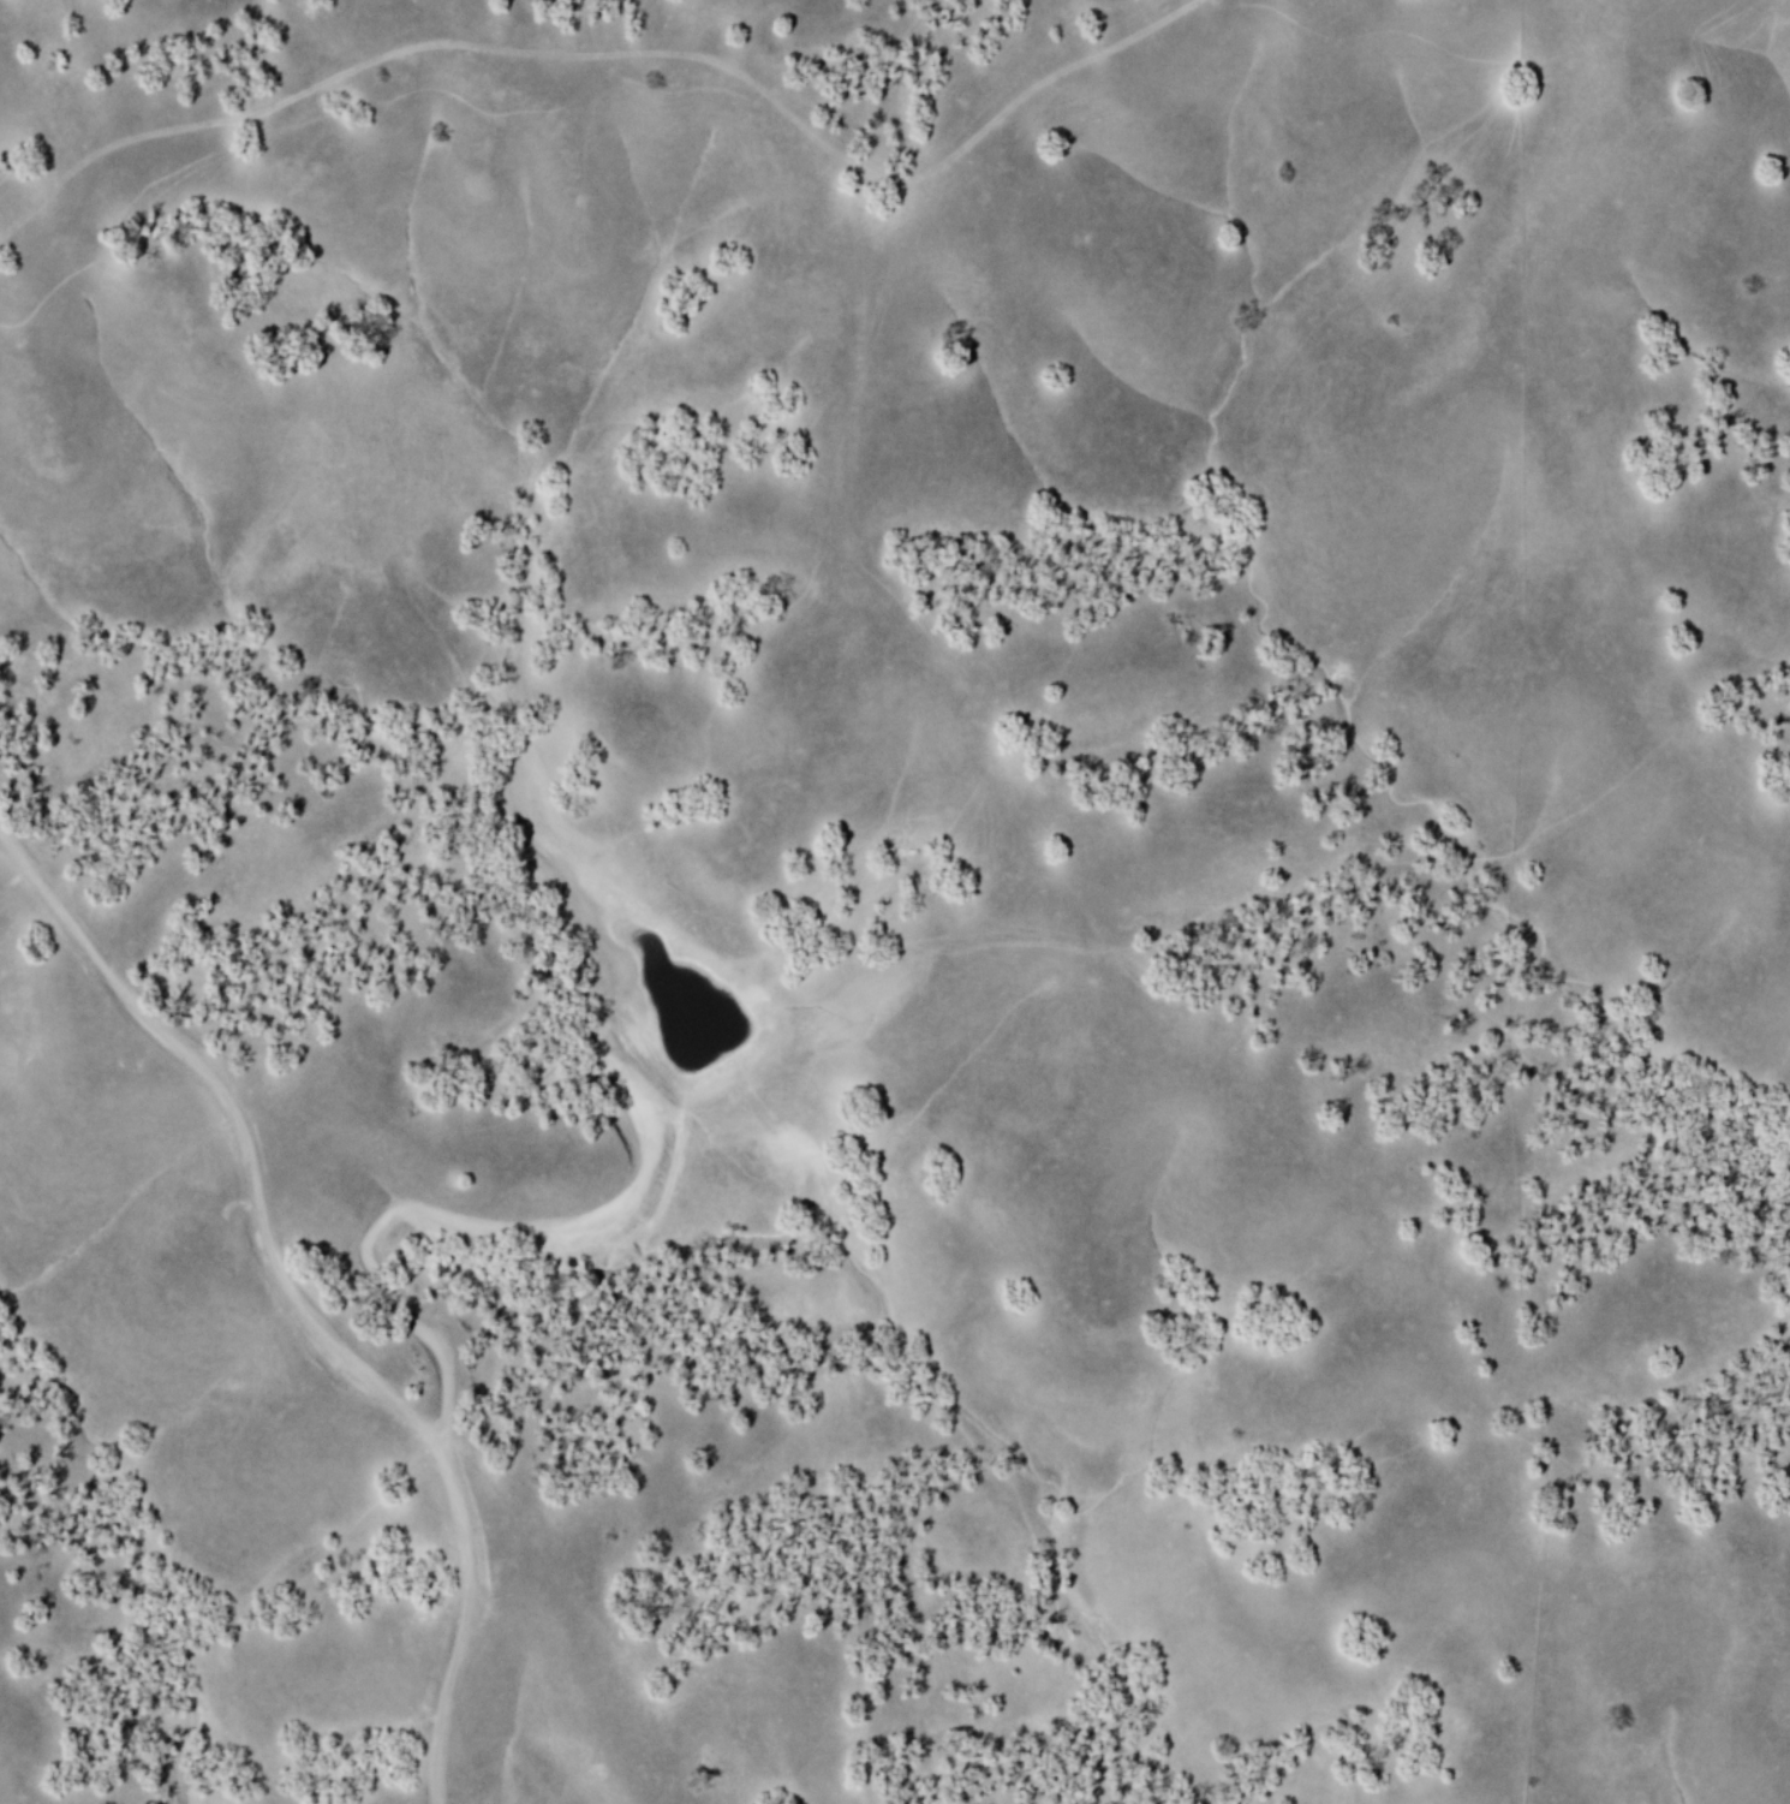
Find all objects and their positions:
road: (617, 52)
road: (297, 1298)

